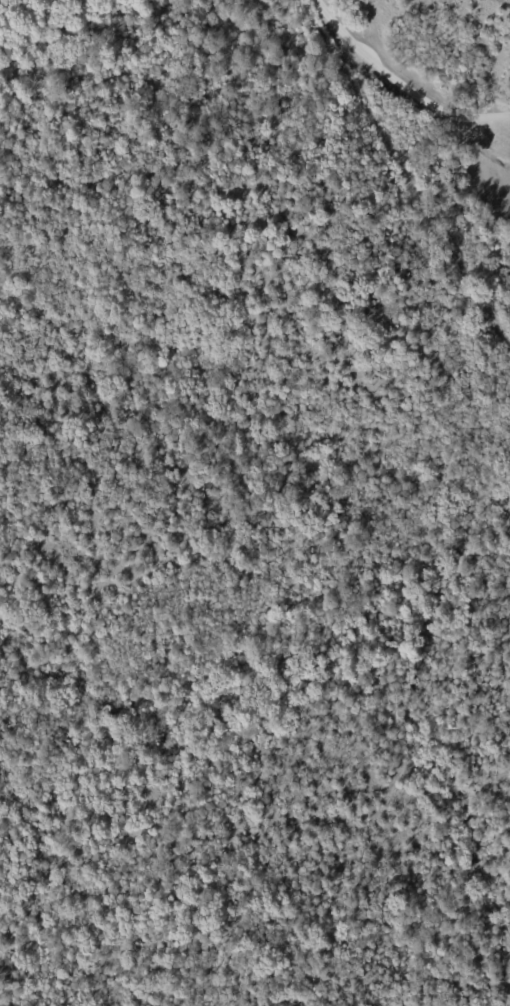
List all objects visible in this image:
road: (394, 88)

